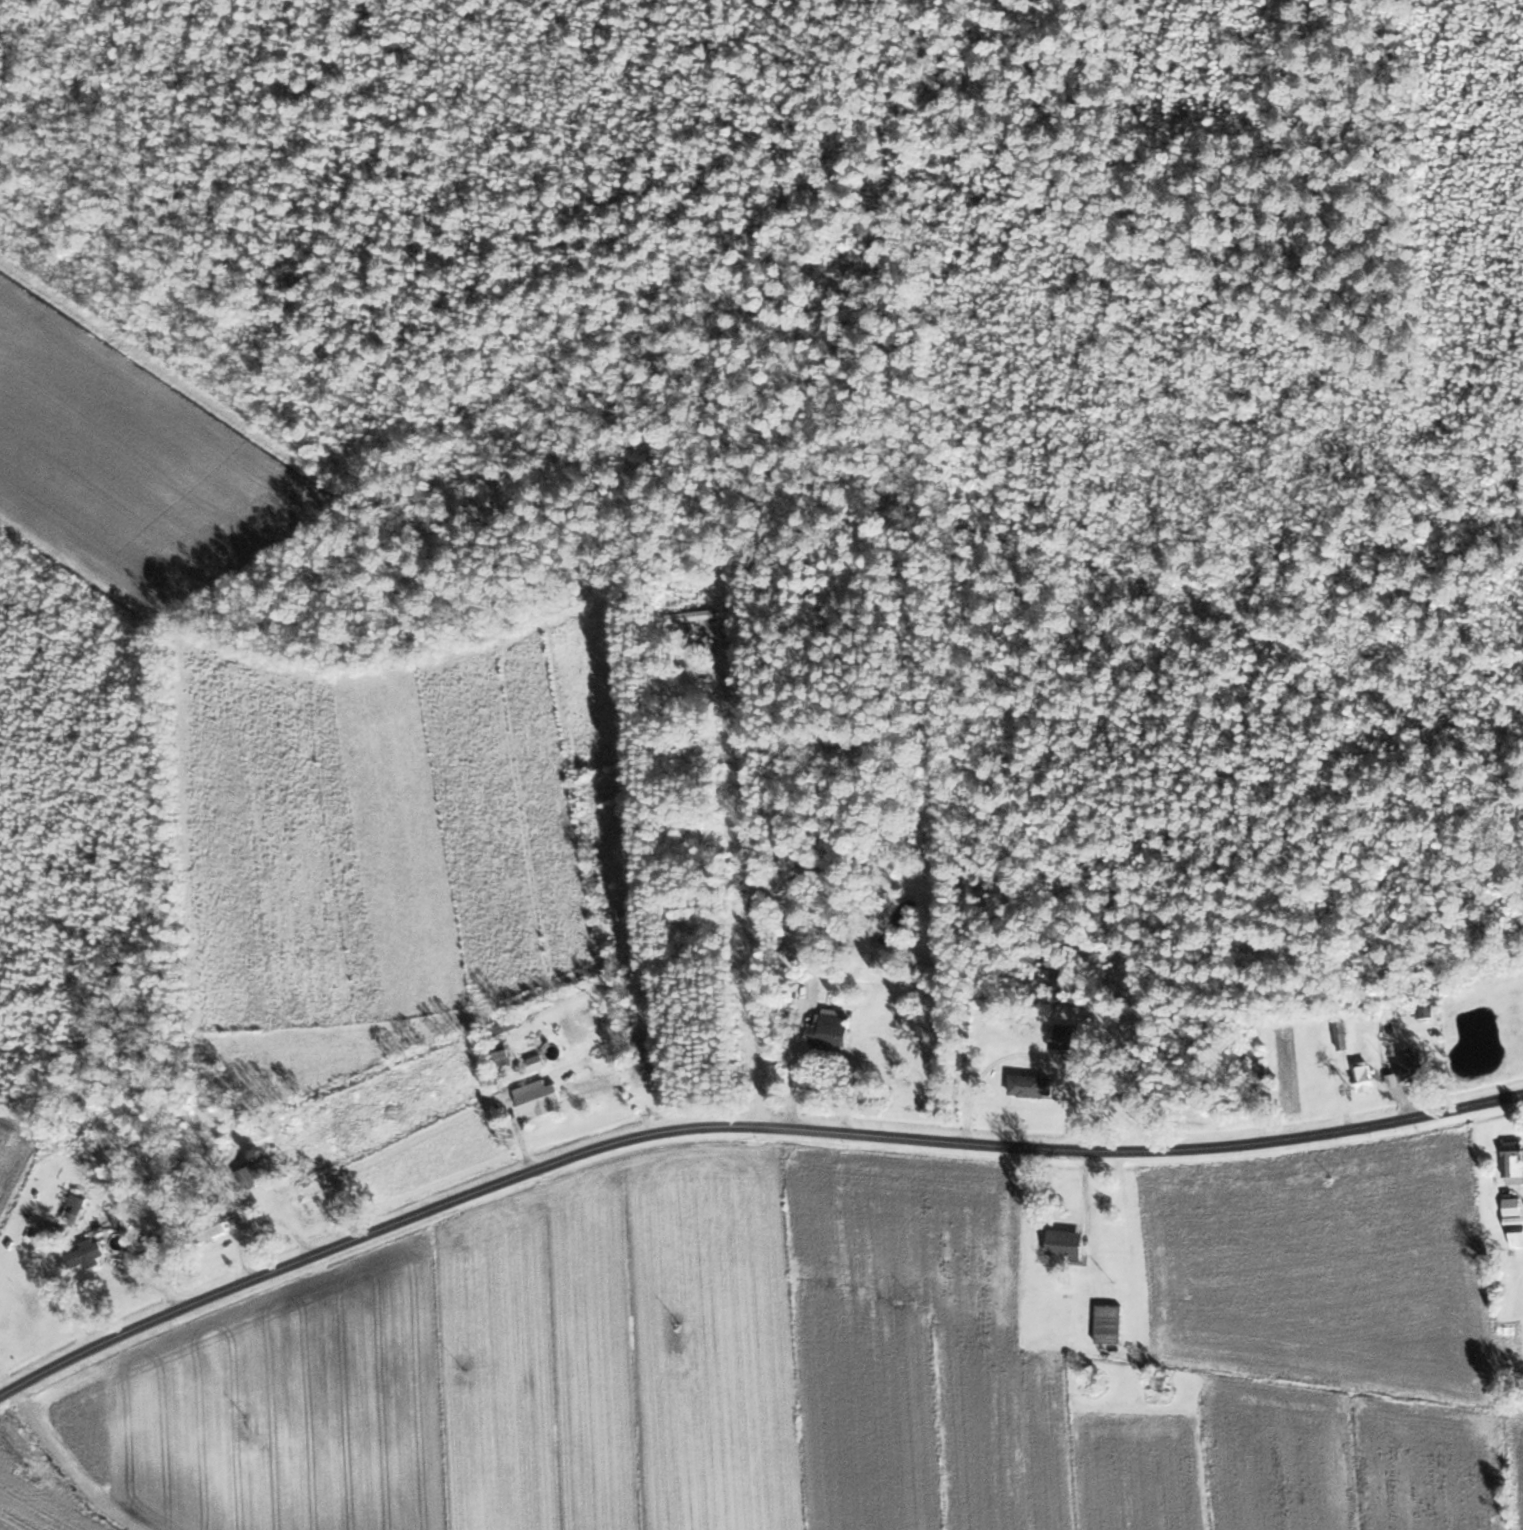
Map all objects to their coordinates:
building: (687, 624)
road: (749, 886)
building: (780, 929)
building: (1394, 1010)
building: (505, 1028)
building: (832, 1029)
building: (1343, 1036)
building: (1067, 1038)
building: (647, 1051)
building: (503, 1053)
building: (1412, 1070)
road: (794, 1071)
building: (1366, 1077)
building: (1032, 1086)
building: (538, 1097)
road: (735, 1124)
building: (1514, 1160)
building: (259, 1174)
building: (75, 1209)
building: (1515, 1220)
building: (211, 1229)
building: (1067, 1244)
building: (89, 1254)
building: (1110, 1325)

